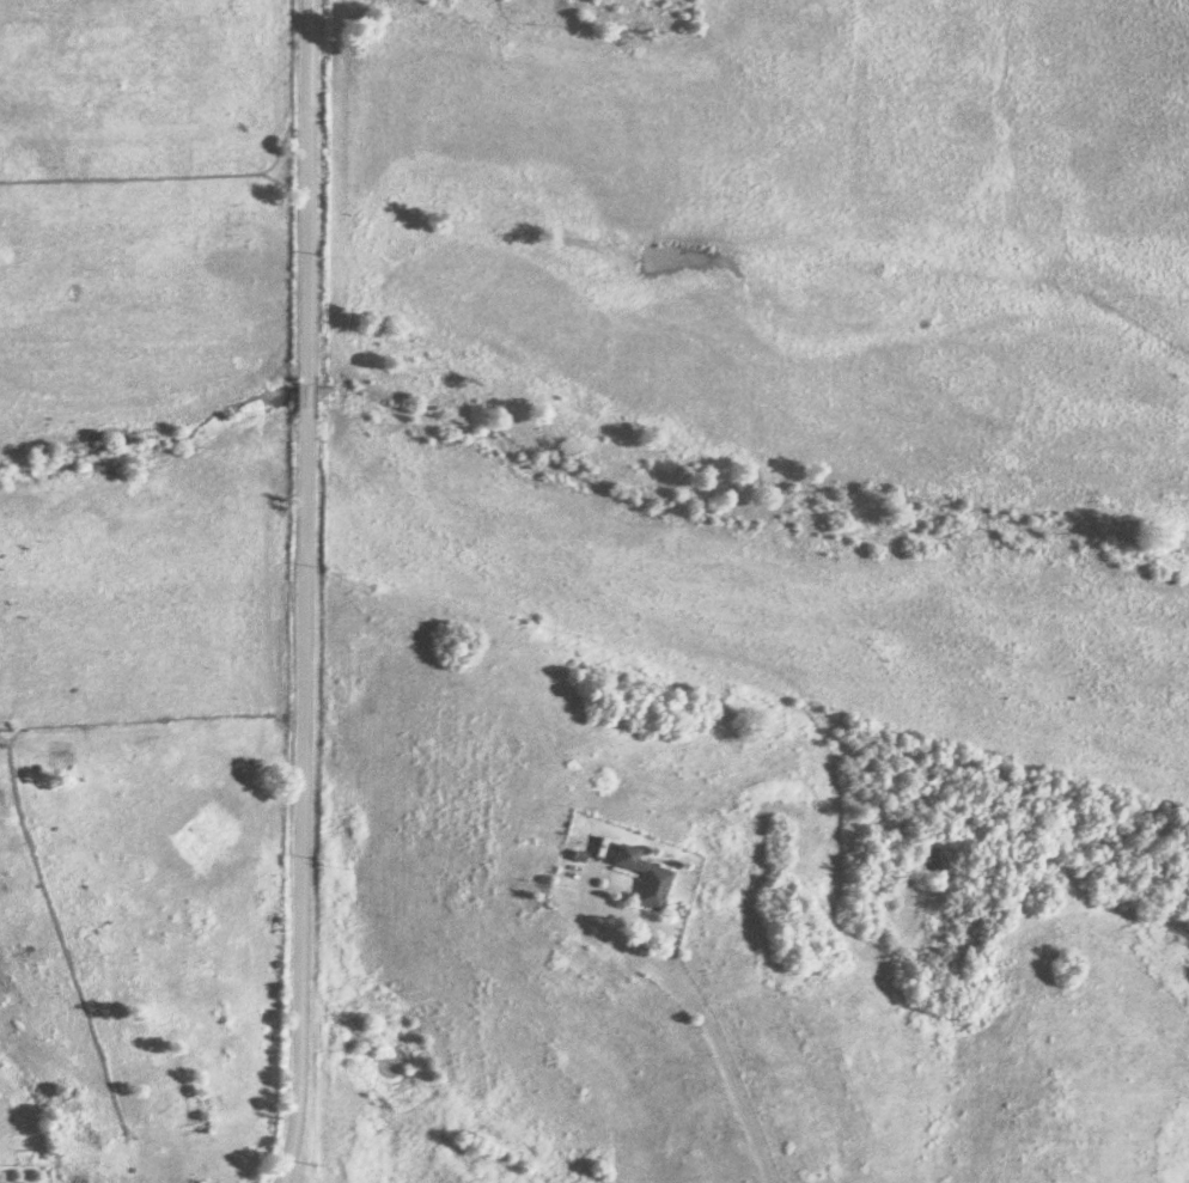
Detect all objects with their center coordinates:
road: (300, 592)
building: (650, 889)
road: (705, 1032)

